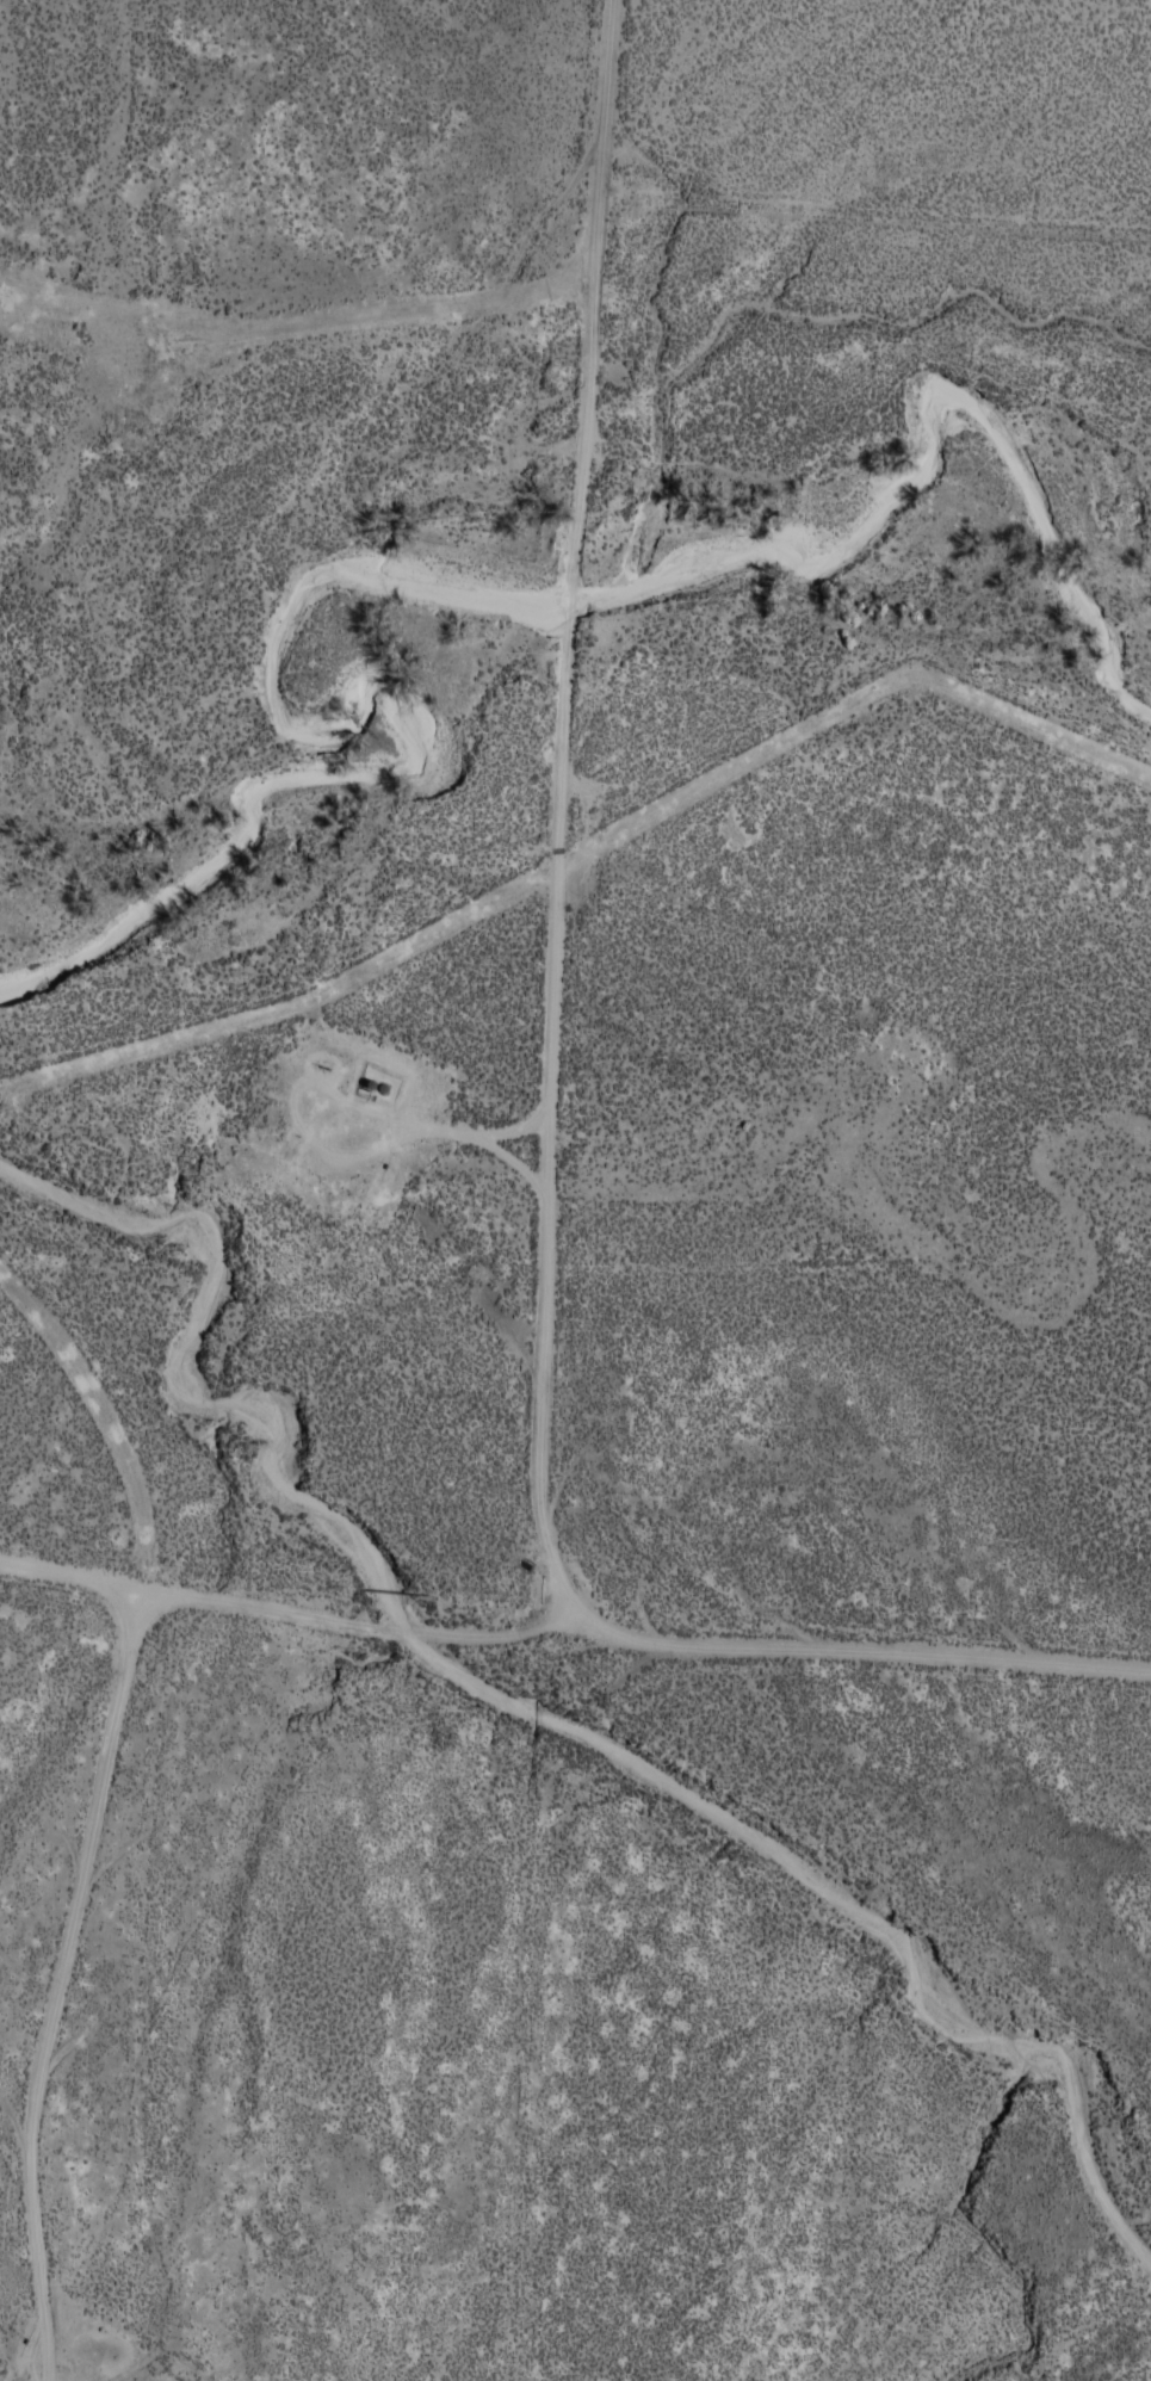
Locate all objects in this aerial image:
road: (893, 205)
river: (527, 573)
road: (555, 1189)
road: (575, 1607)
river: (537, 1694)

